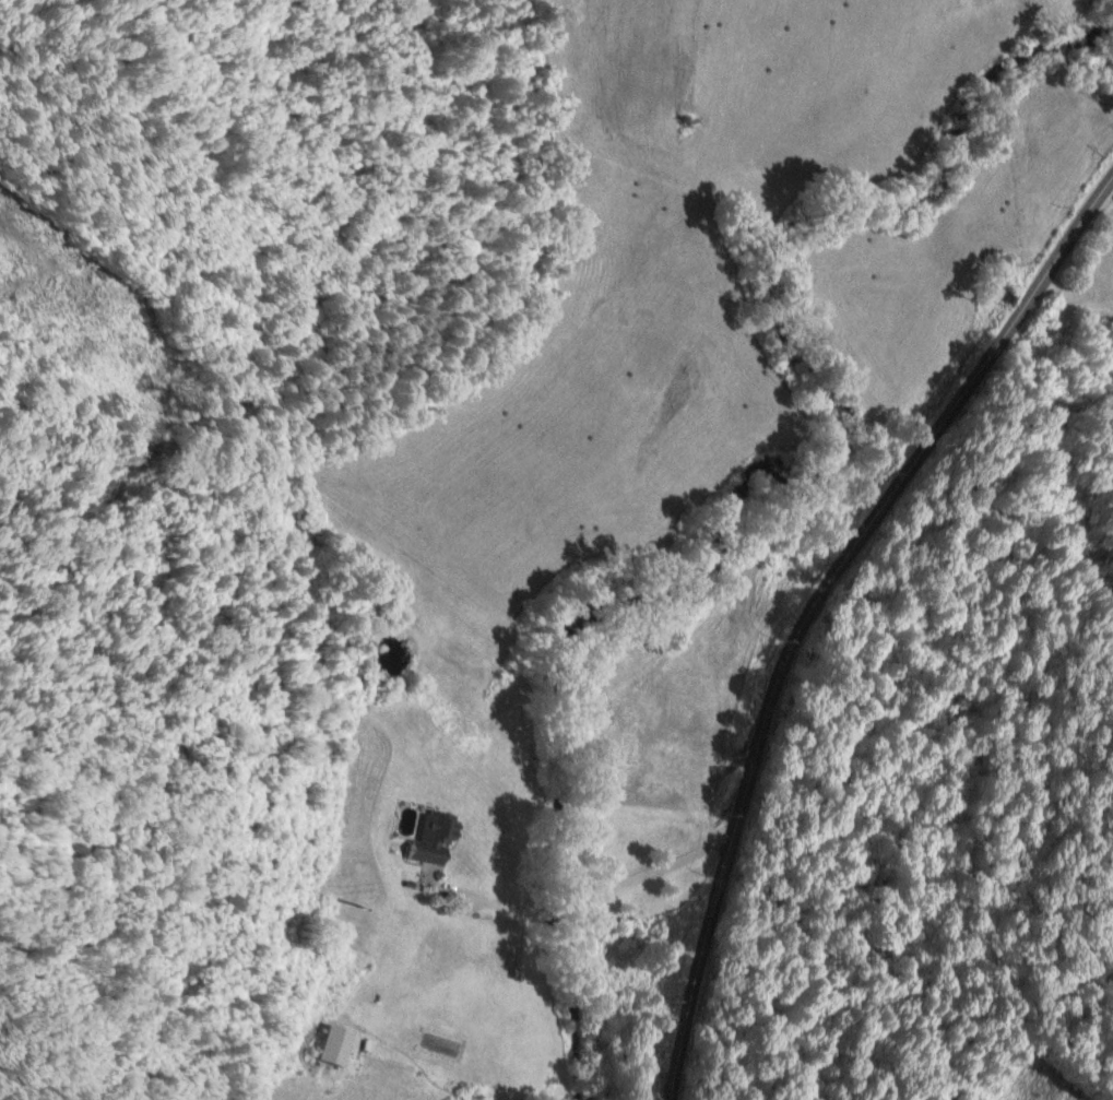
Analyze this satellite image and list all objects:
road: (817, 603)
building: (436, 839)
building: (338, 1044)

